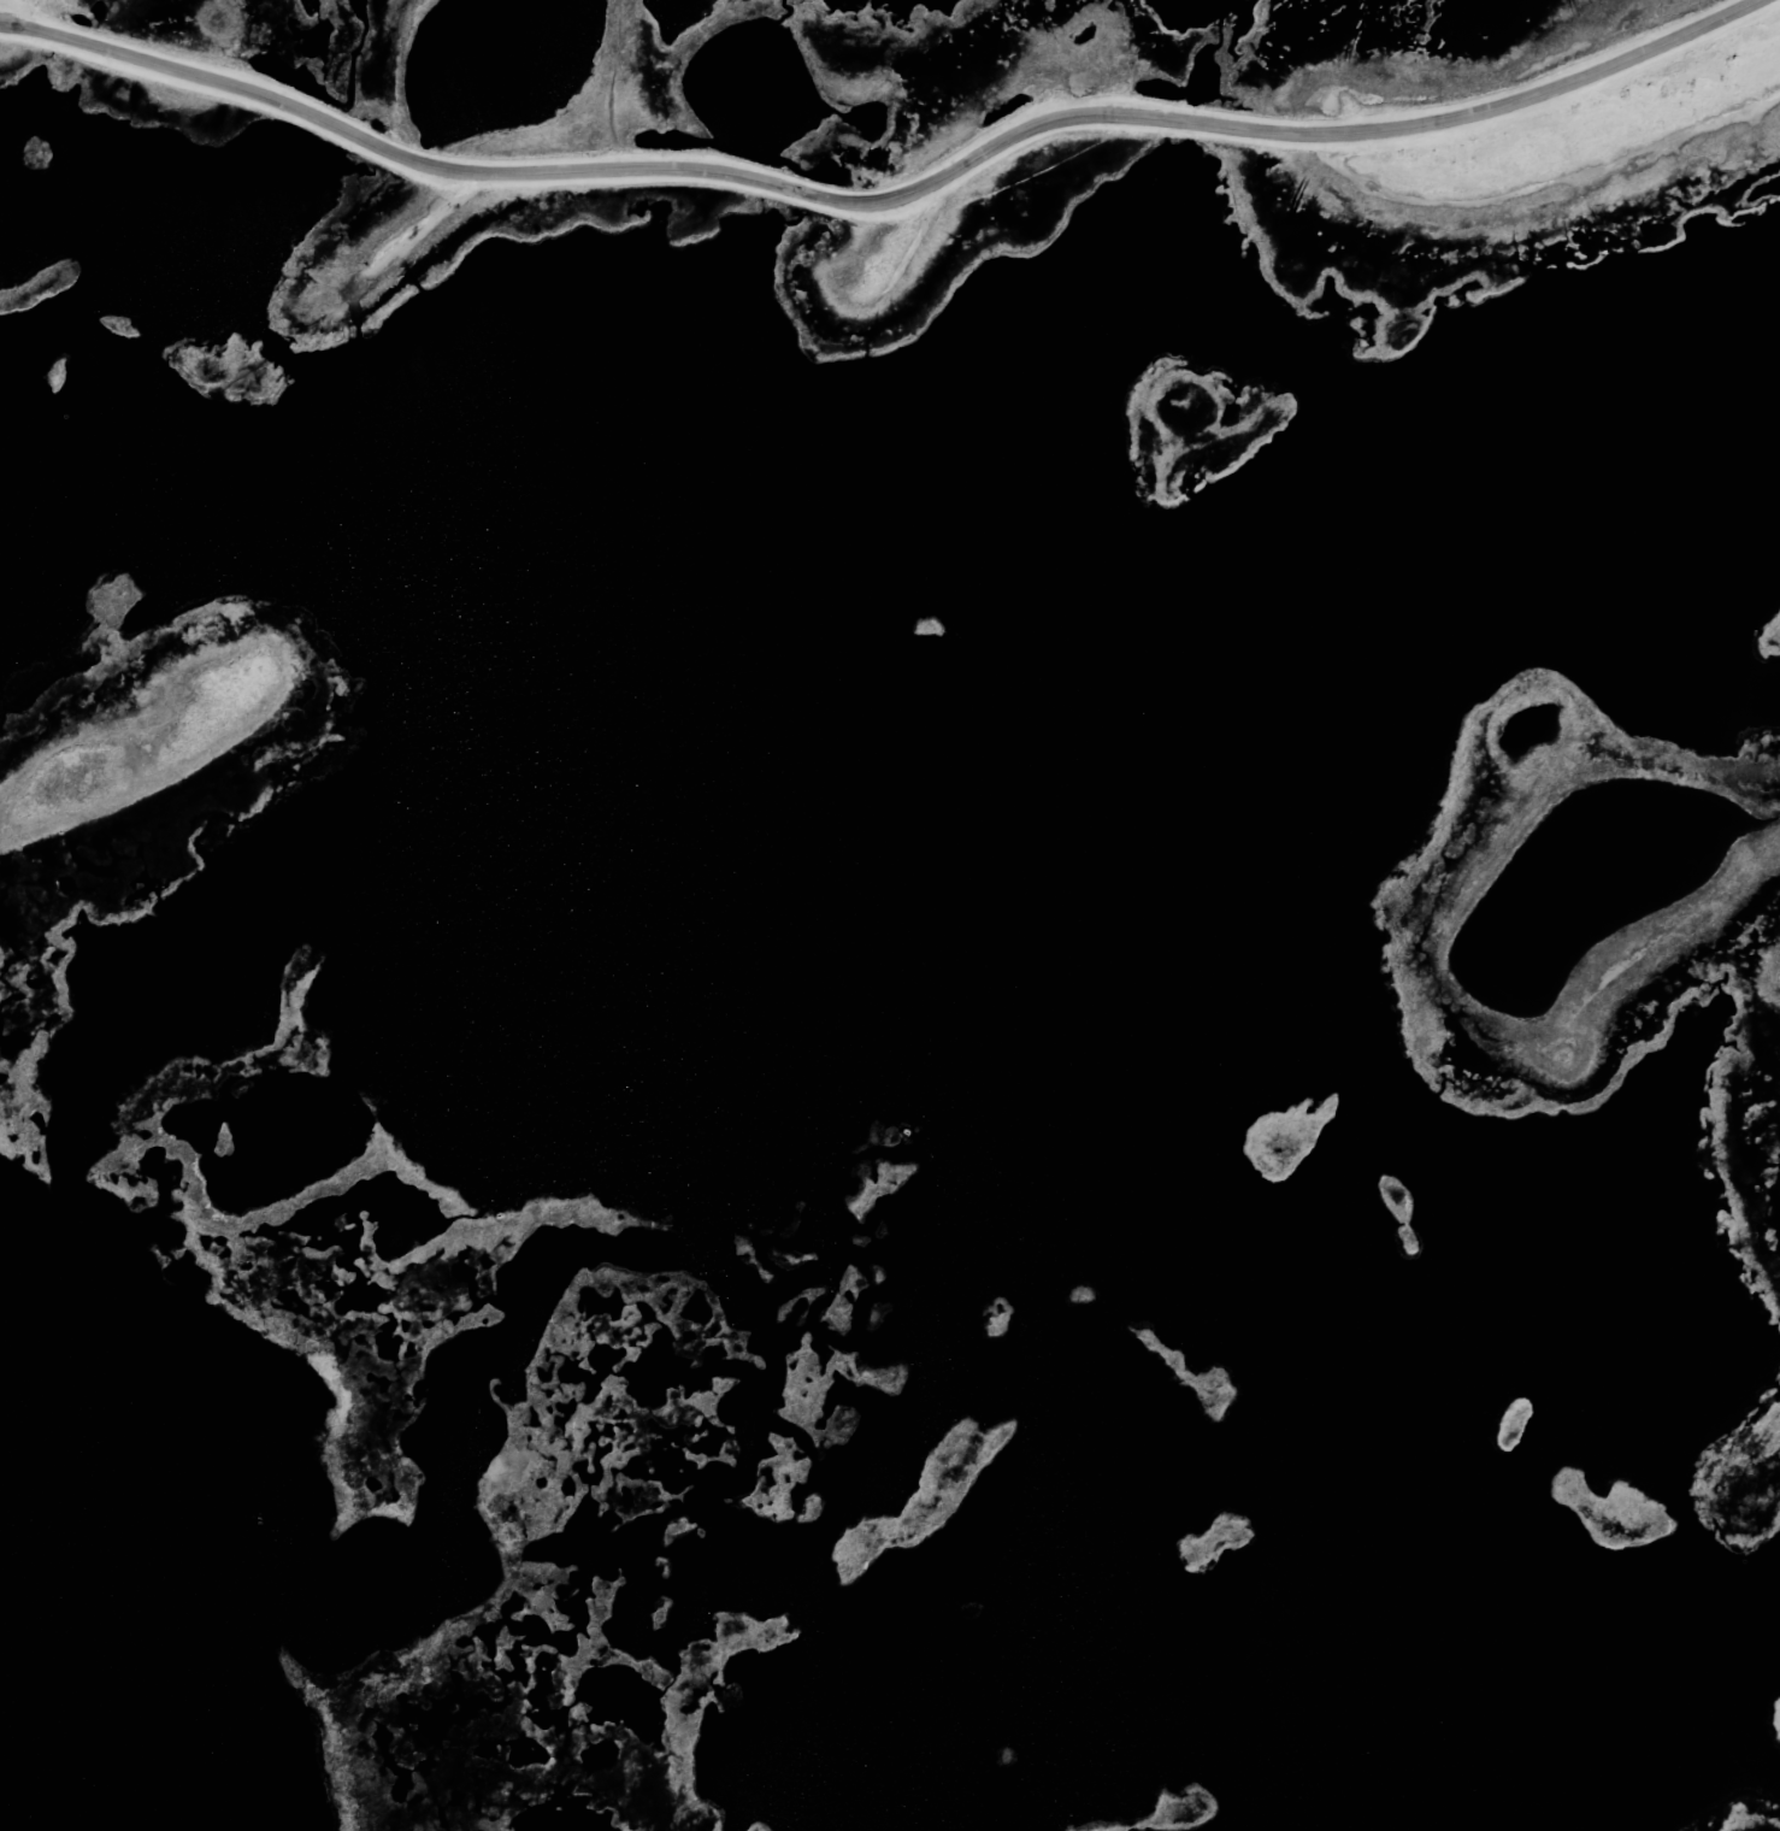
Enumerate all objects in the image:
road: (885, 199)

